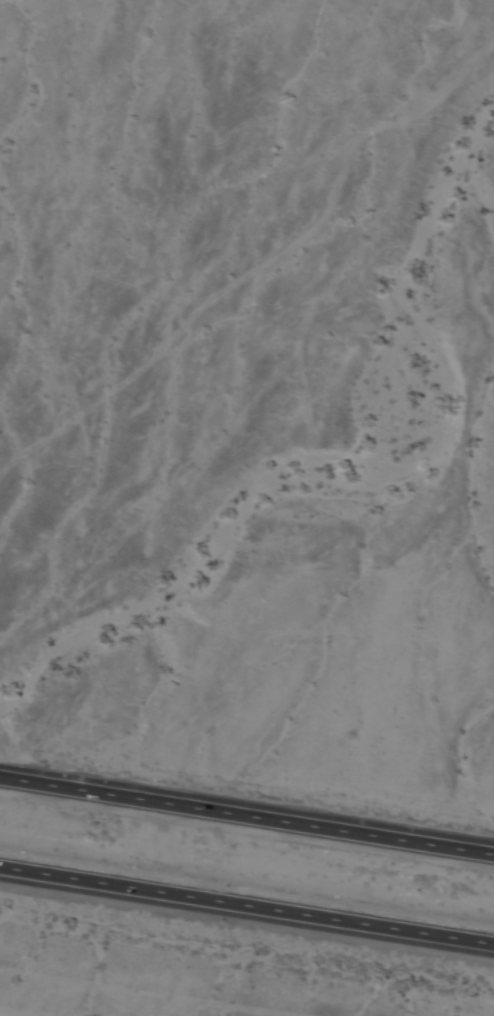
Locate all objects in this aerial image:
road: (247, 810)
road: (247, 908)

